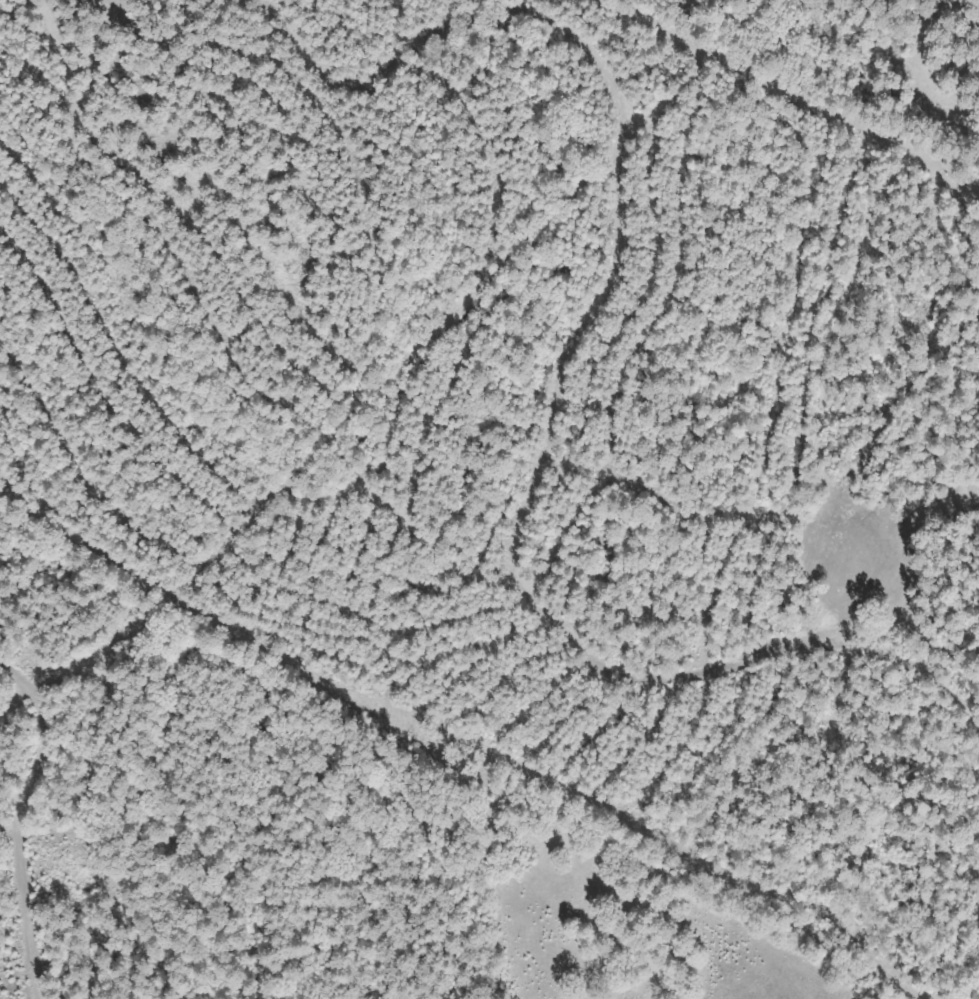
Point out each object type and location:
road: (59, 929)

